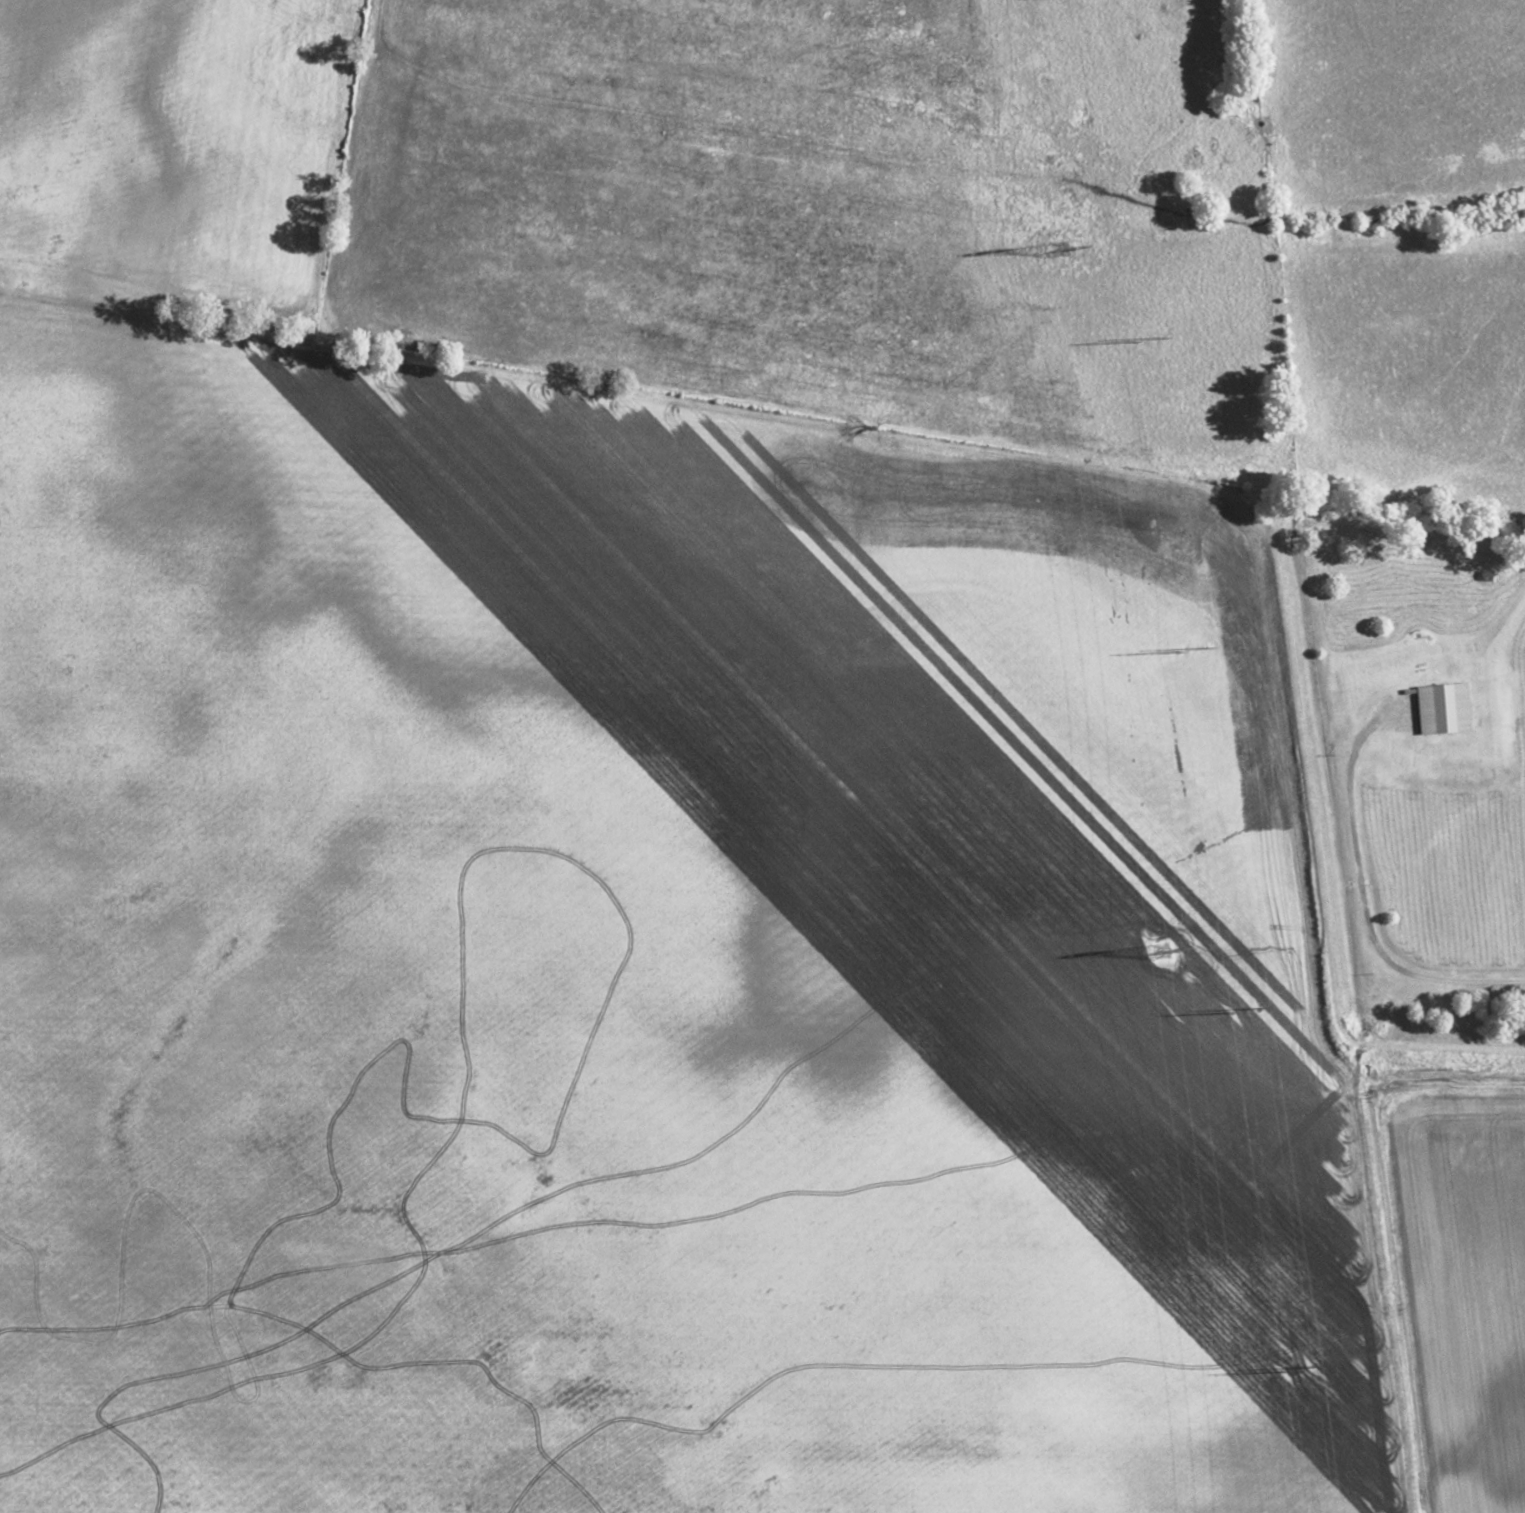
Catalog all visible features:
power tower: (1061, 255)
power tower: (1148, 340)
building: (1485, 575)
power tower: (1193, 650)
building: (1441, 707)
power tower: (1163, 961)
power tower: (1247, 1012)
power tower: (1299, 1367)

